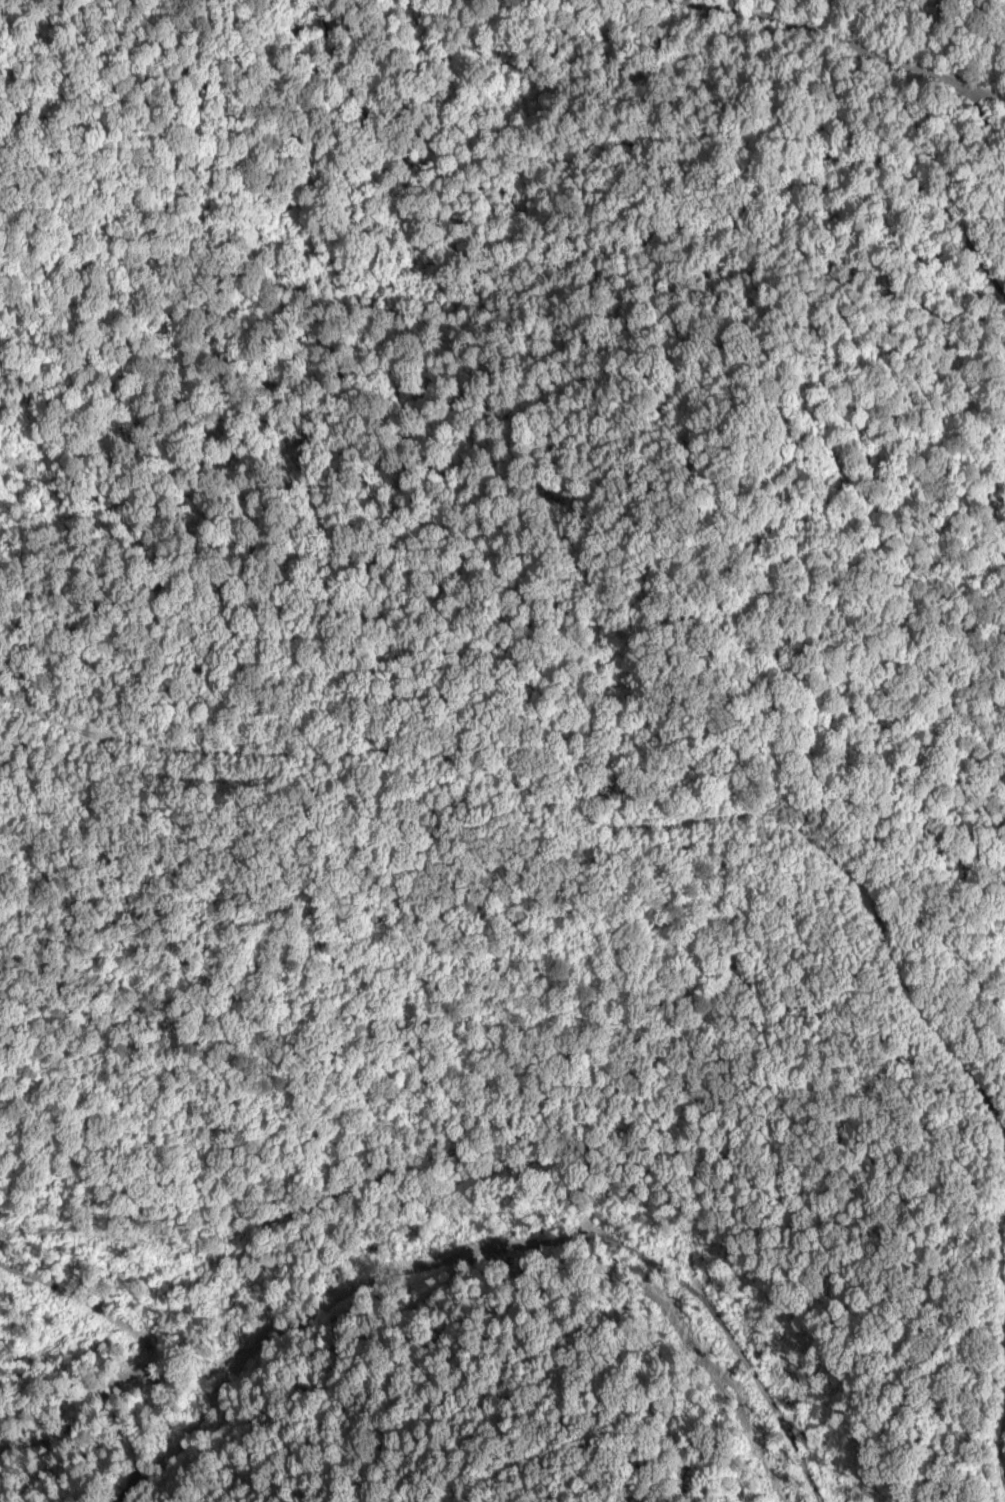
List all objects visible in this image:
road: (840, 39)

